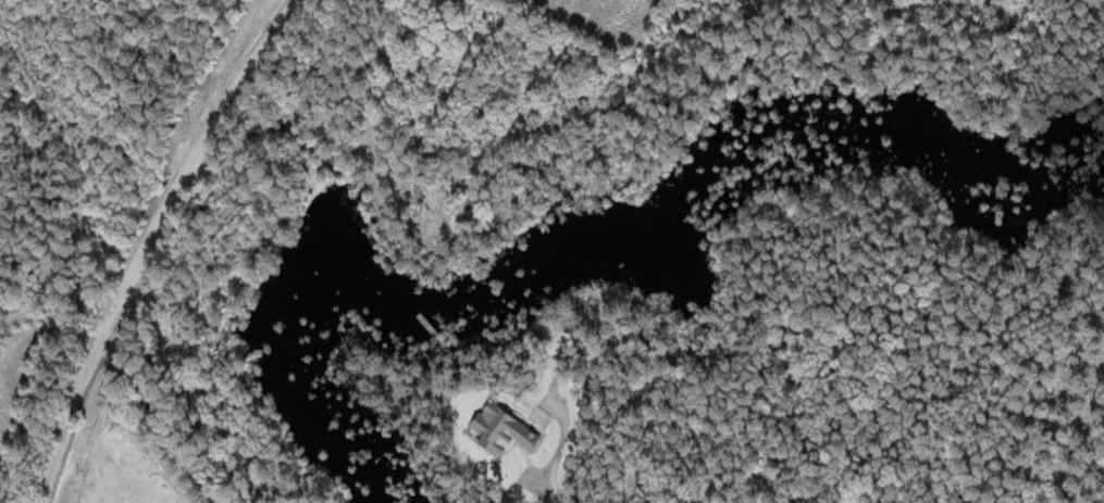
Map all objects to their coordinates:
road: (149, 241)
road: (138, 370)

